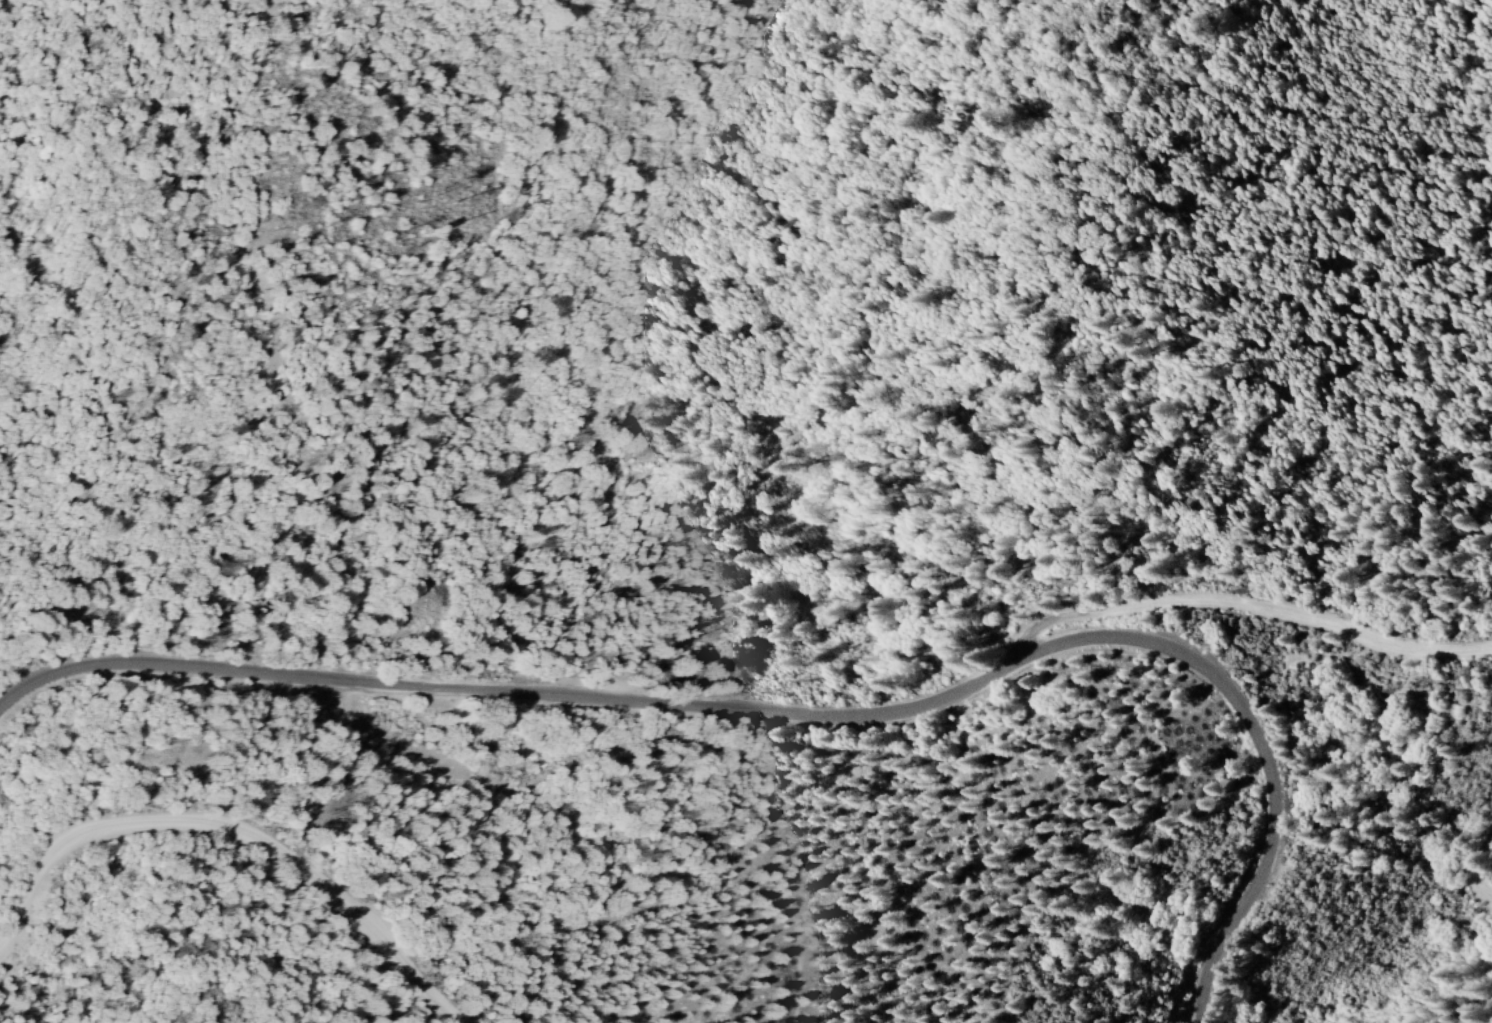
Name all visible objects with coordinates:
road: (1249, 609)
road: (804, 714)
road: (235, 826)
road: (1476, 877)

